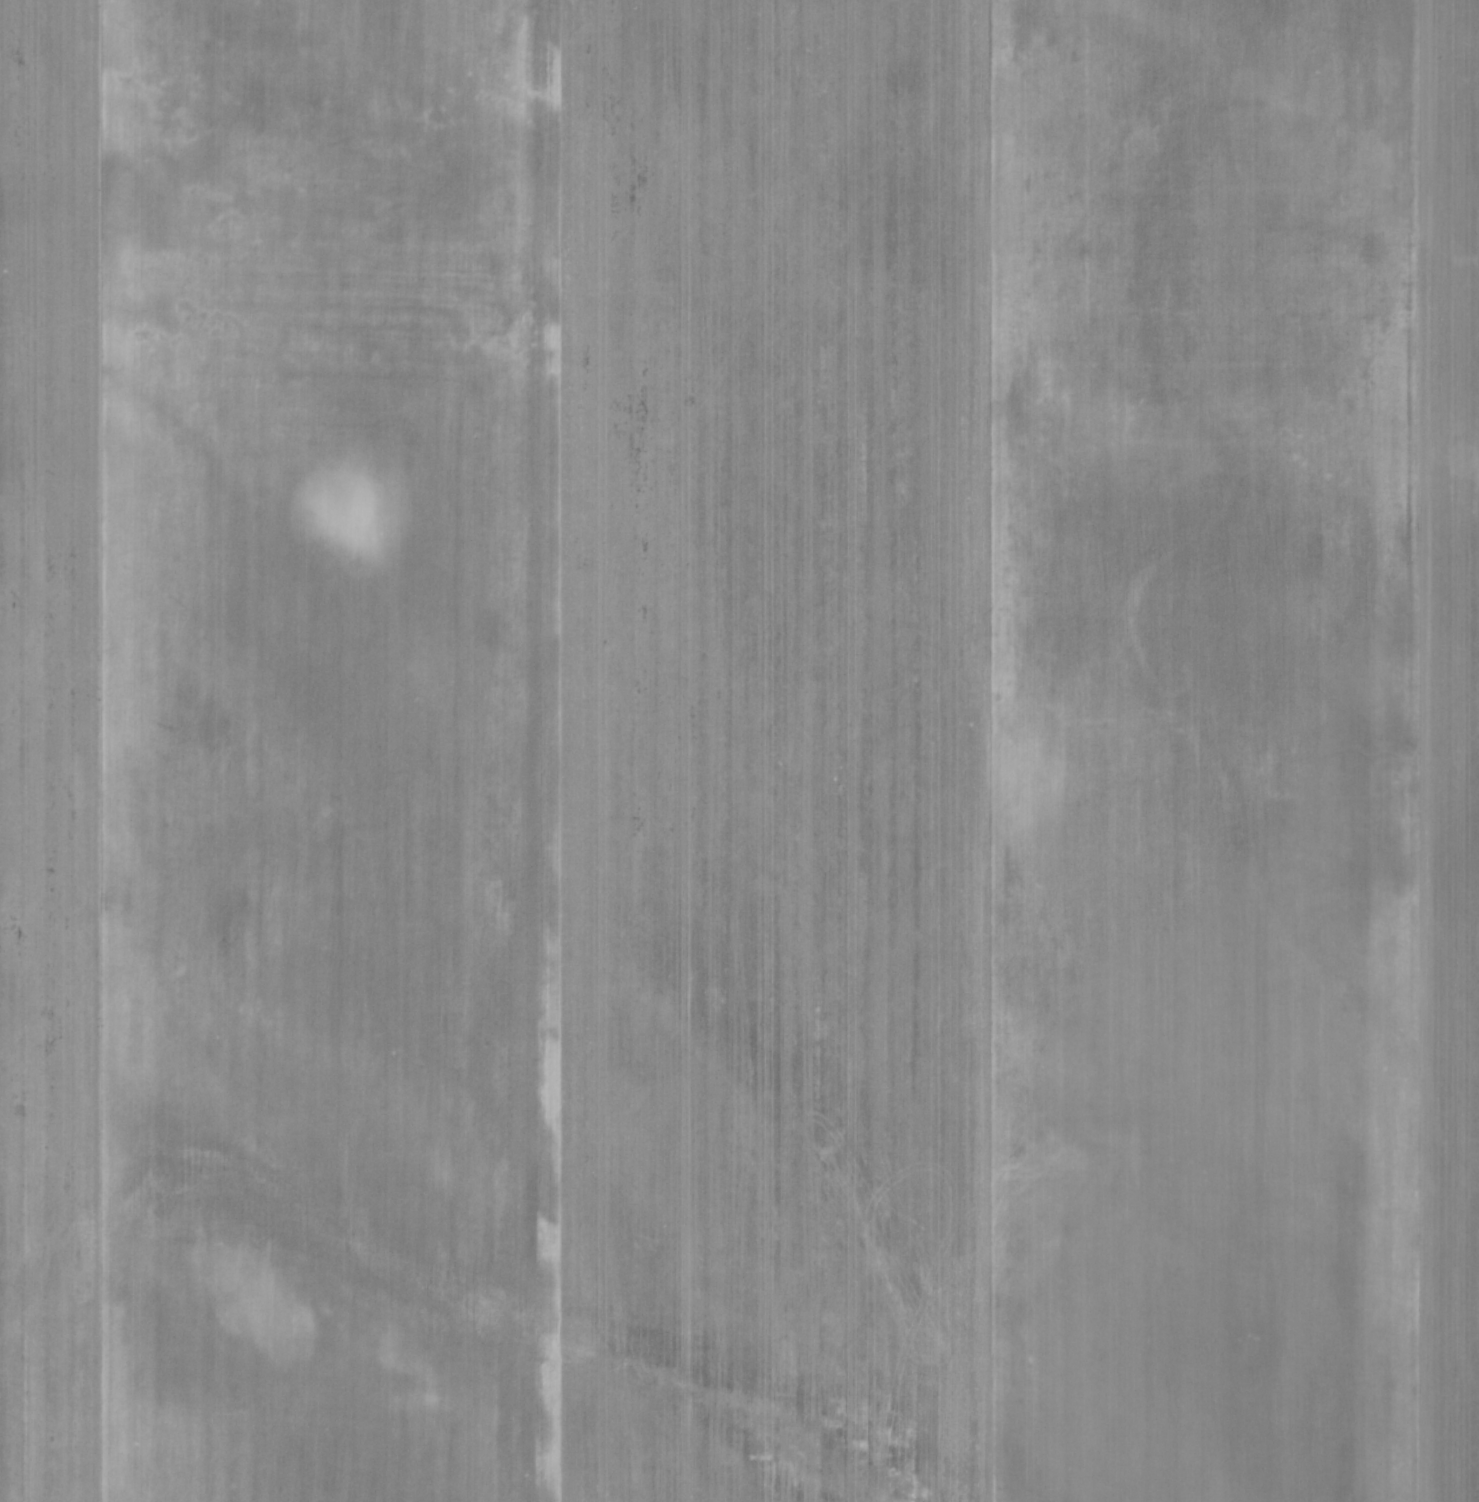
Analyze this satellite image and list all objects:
crop: (739, 751)

